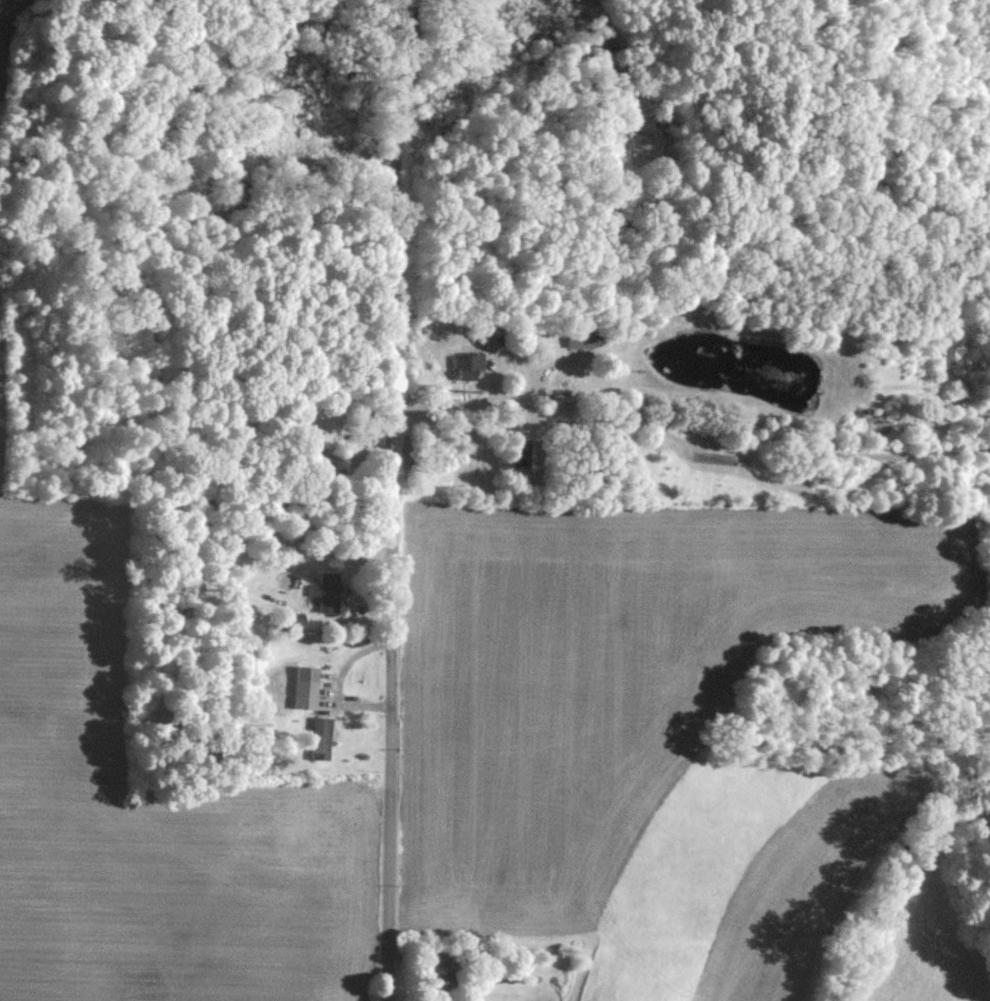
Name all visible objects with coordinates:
building: (478, 333)
building: (578, 340)
building: (467, 365)
road: (389, 500)
building: (325, 593)
building: (288, 622)
building: (305, 688)
building: (320, 738)
building: (441, 972)

